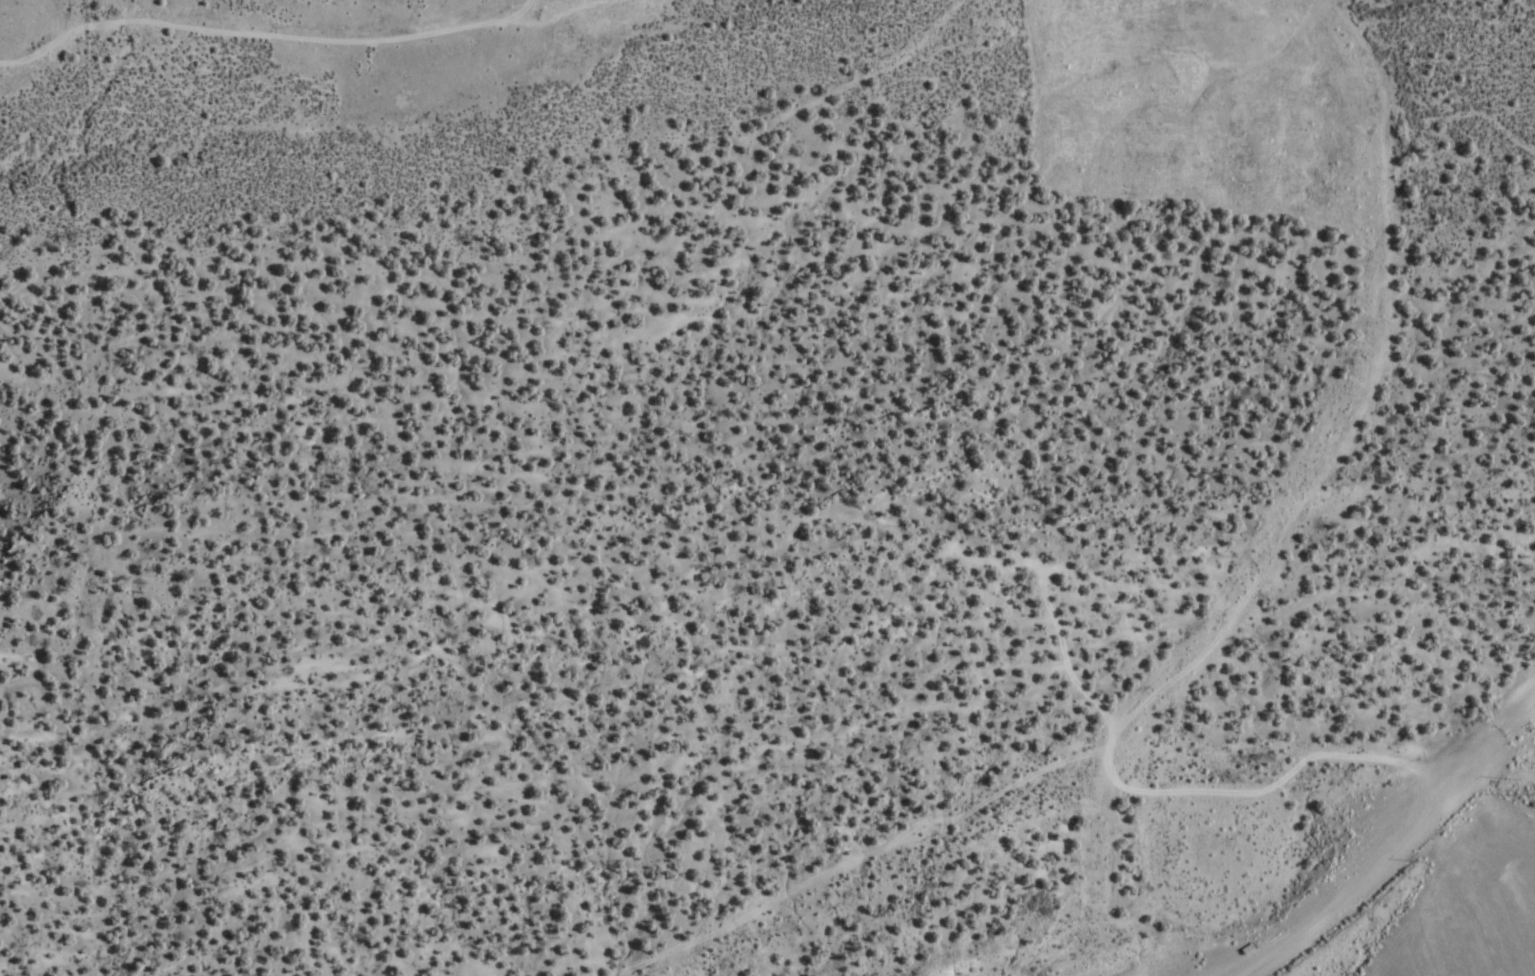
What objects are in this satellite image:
road: (1391, 844)

